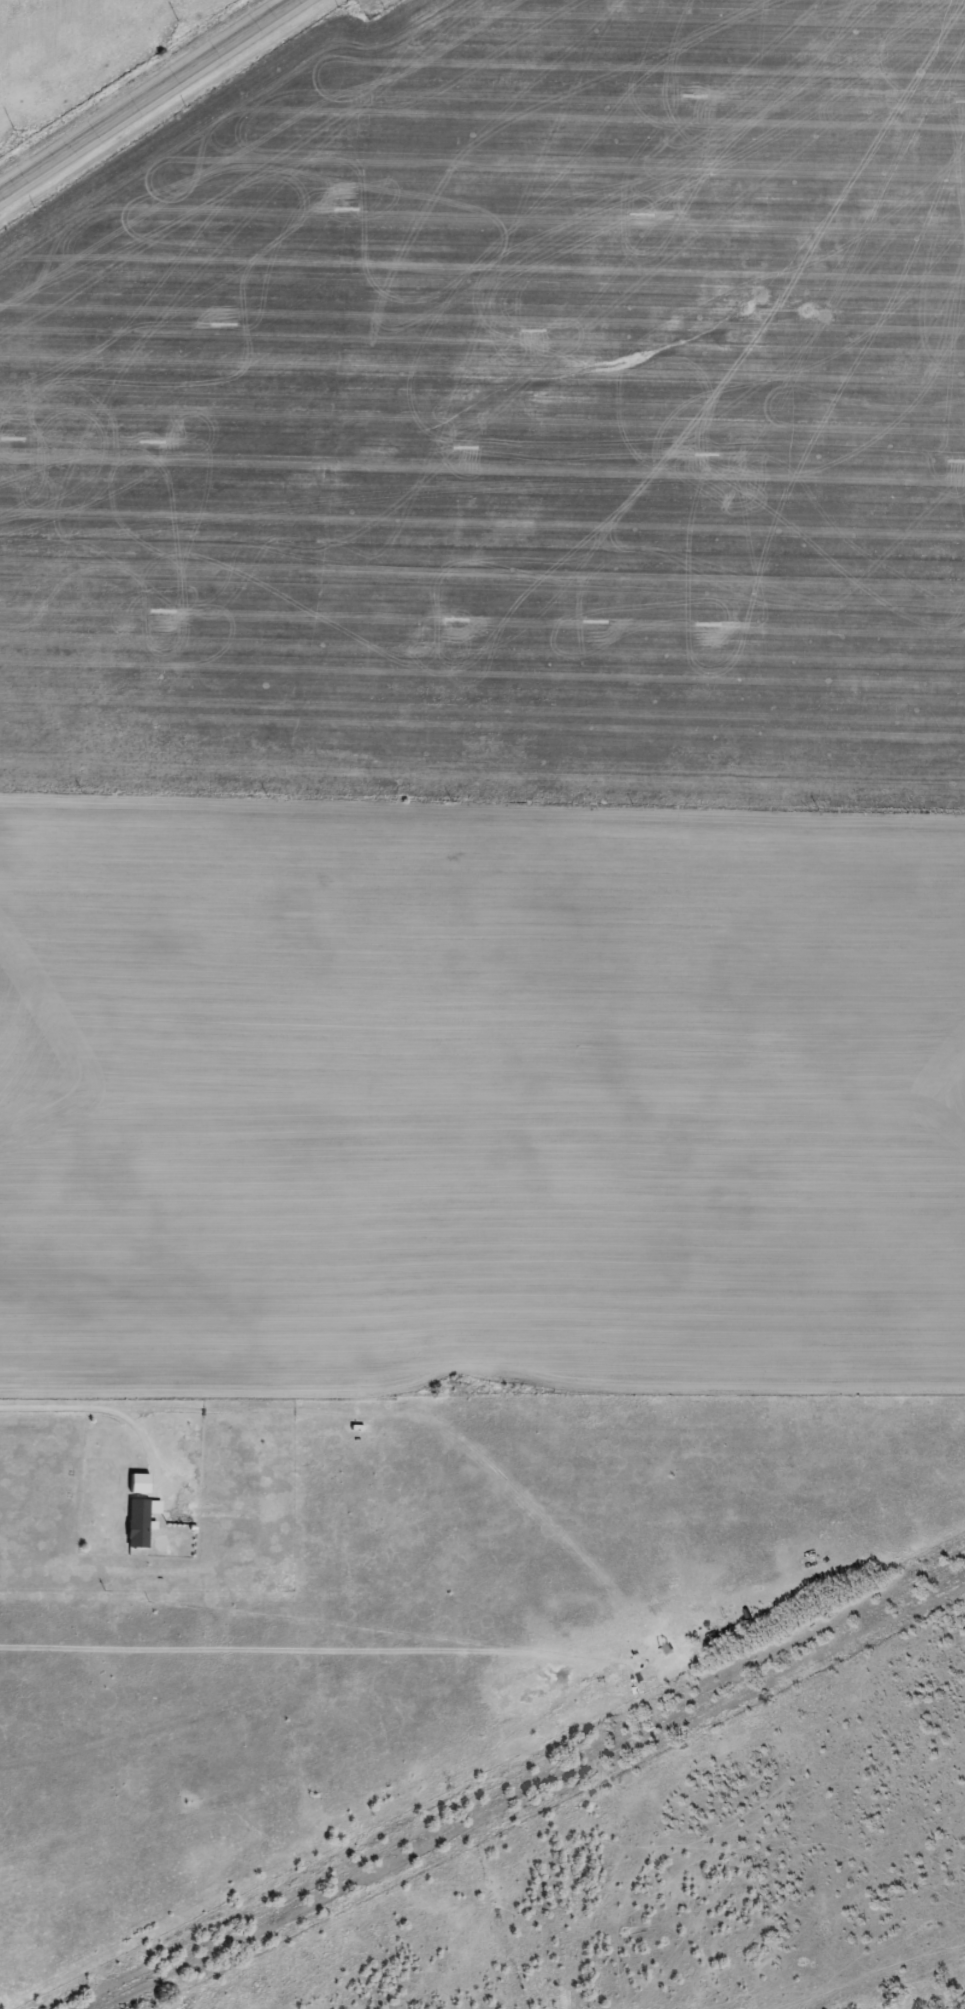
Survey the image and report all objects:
road: (140, 96)
building: (137, 1521)
railway: (523, 1787)

